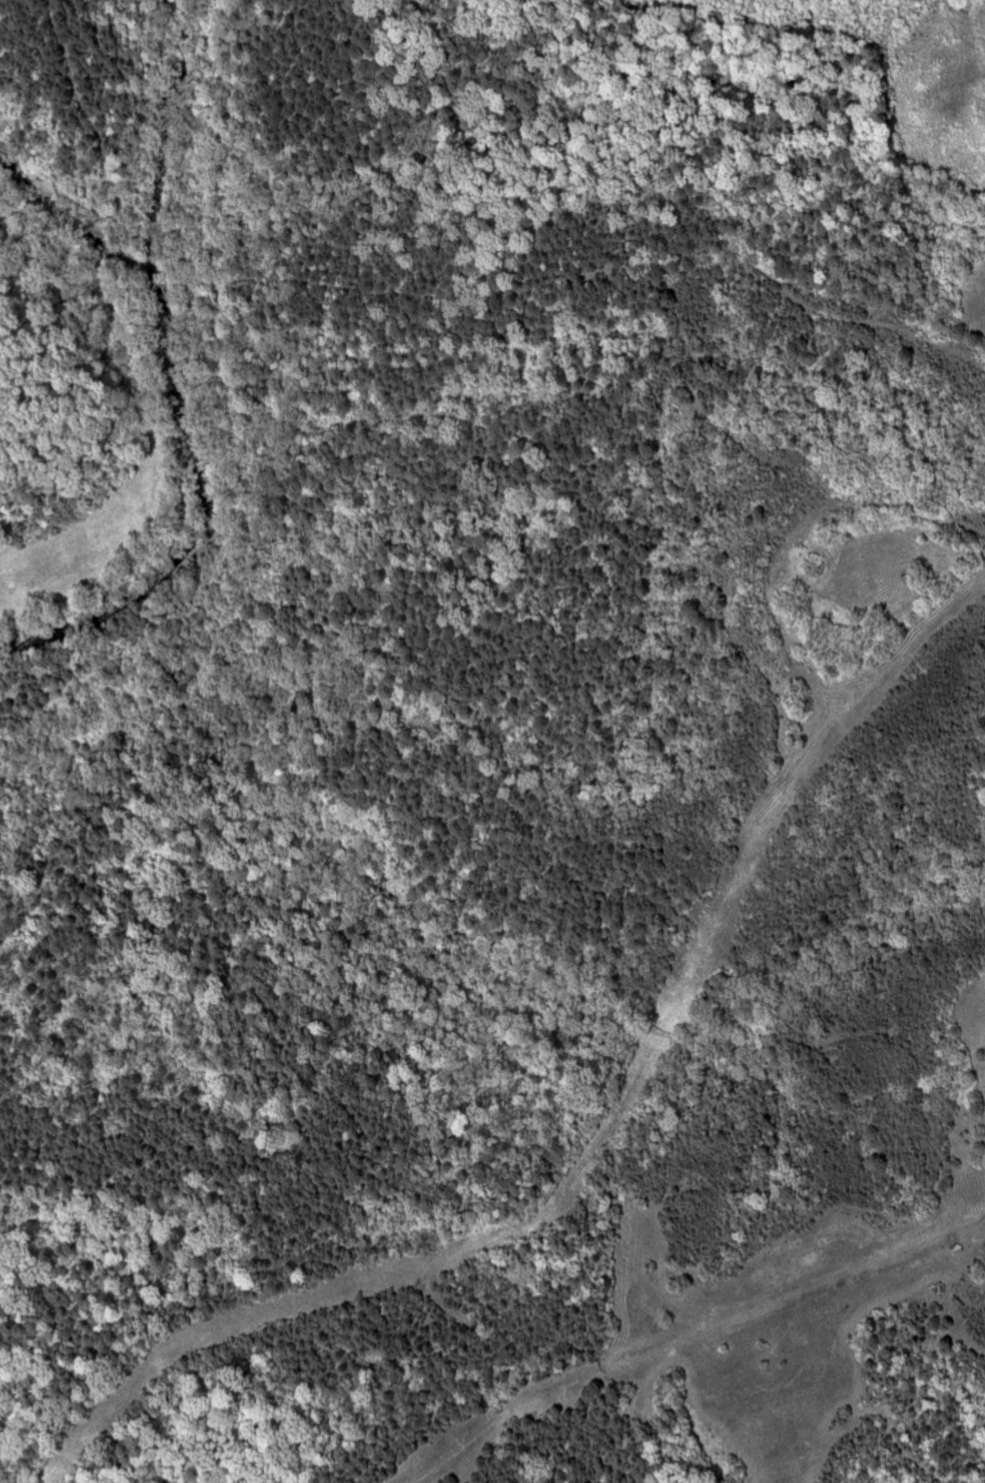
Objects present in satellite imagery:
road: (142, 366)
road: (983, 1166)

